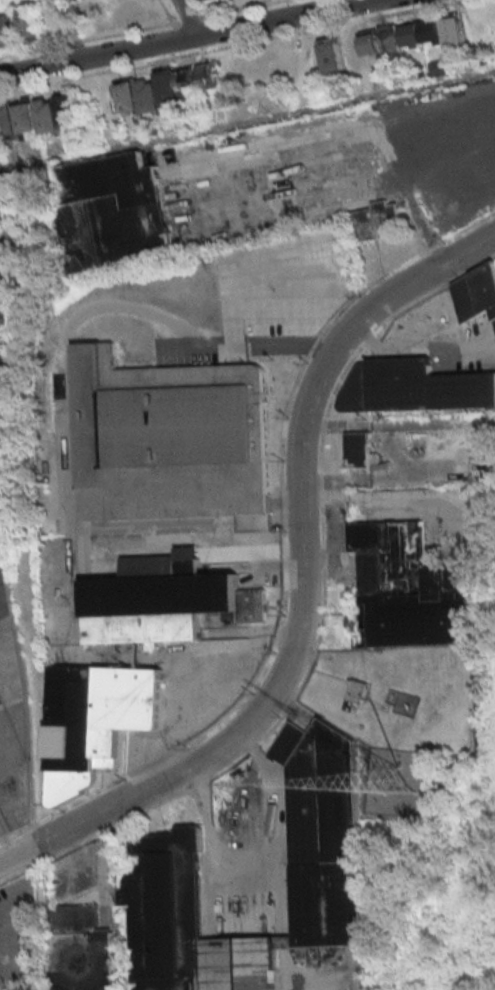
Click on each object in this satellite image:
building: (204, 0)
building: (108, 2)
road: (192, 16)
building: (28, 24)
road: (74, 28)
building: (7, 31)
building: (423, 35)
road: (185, 36)
building: (349, 51)
building: (166, 88)
building: (36, 116)
road: (247, 123)
building: (115, 212)
building: (378, 221)
building: (476, 295)
building: (415, 388)
building: (169, 438)
building: (361, 451)
building: (7, 526)
road: (304, 584)
building: (407, 588)
building: (167, 603)
building: (360, 695)
building: (130, 706)
building: (15, 731)
building: (75, 732)
road: (276, 799)
building: (325, 833)
road: (210, 842)
building: (191, 924)
building: (84, 950)
building: (1, 986)

